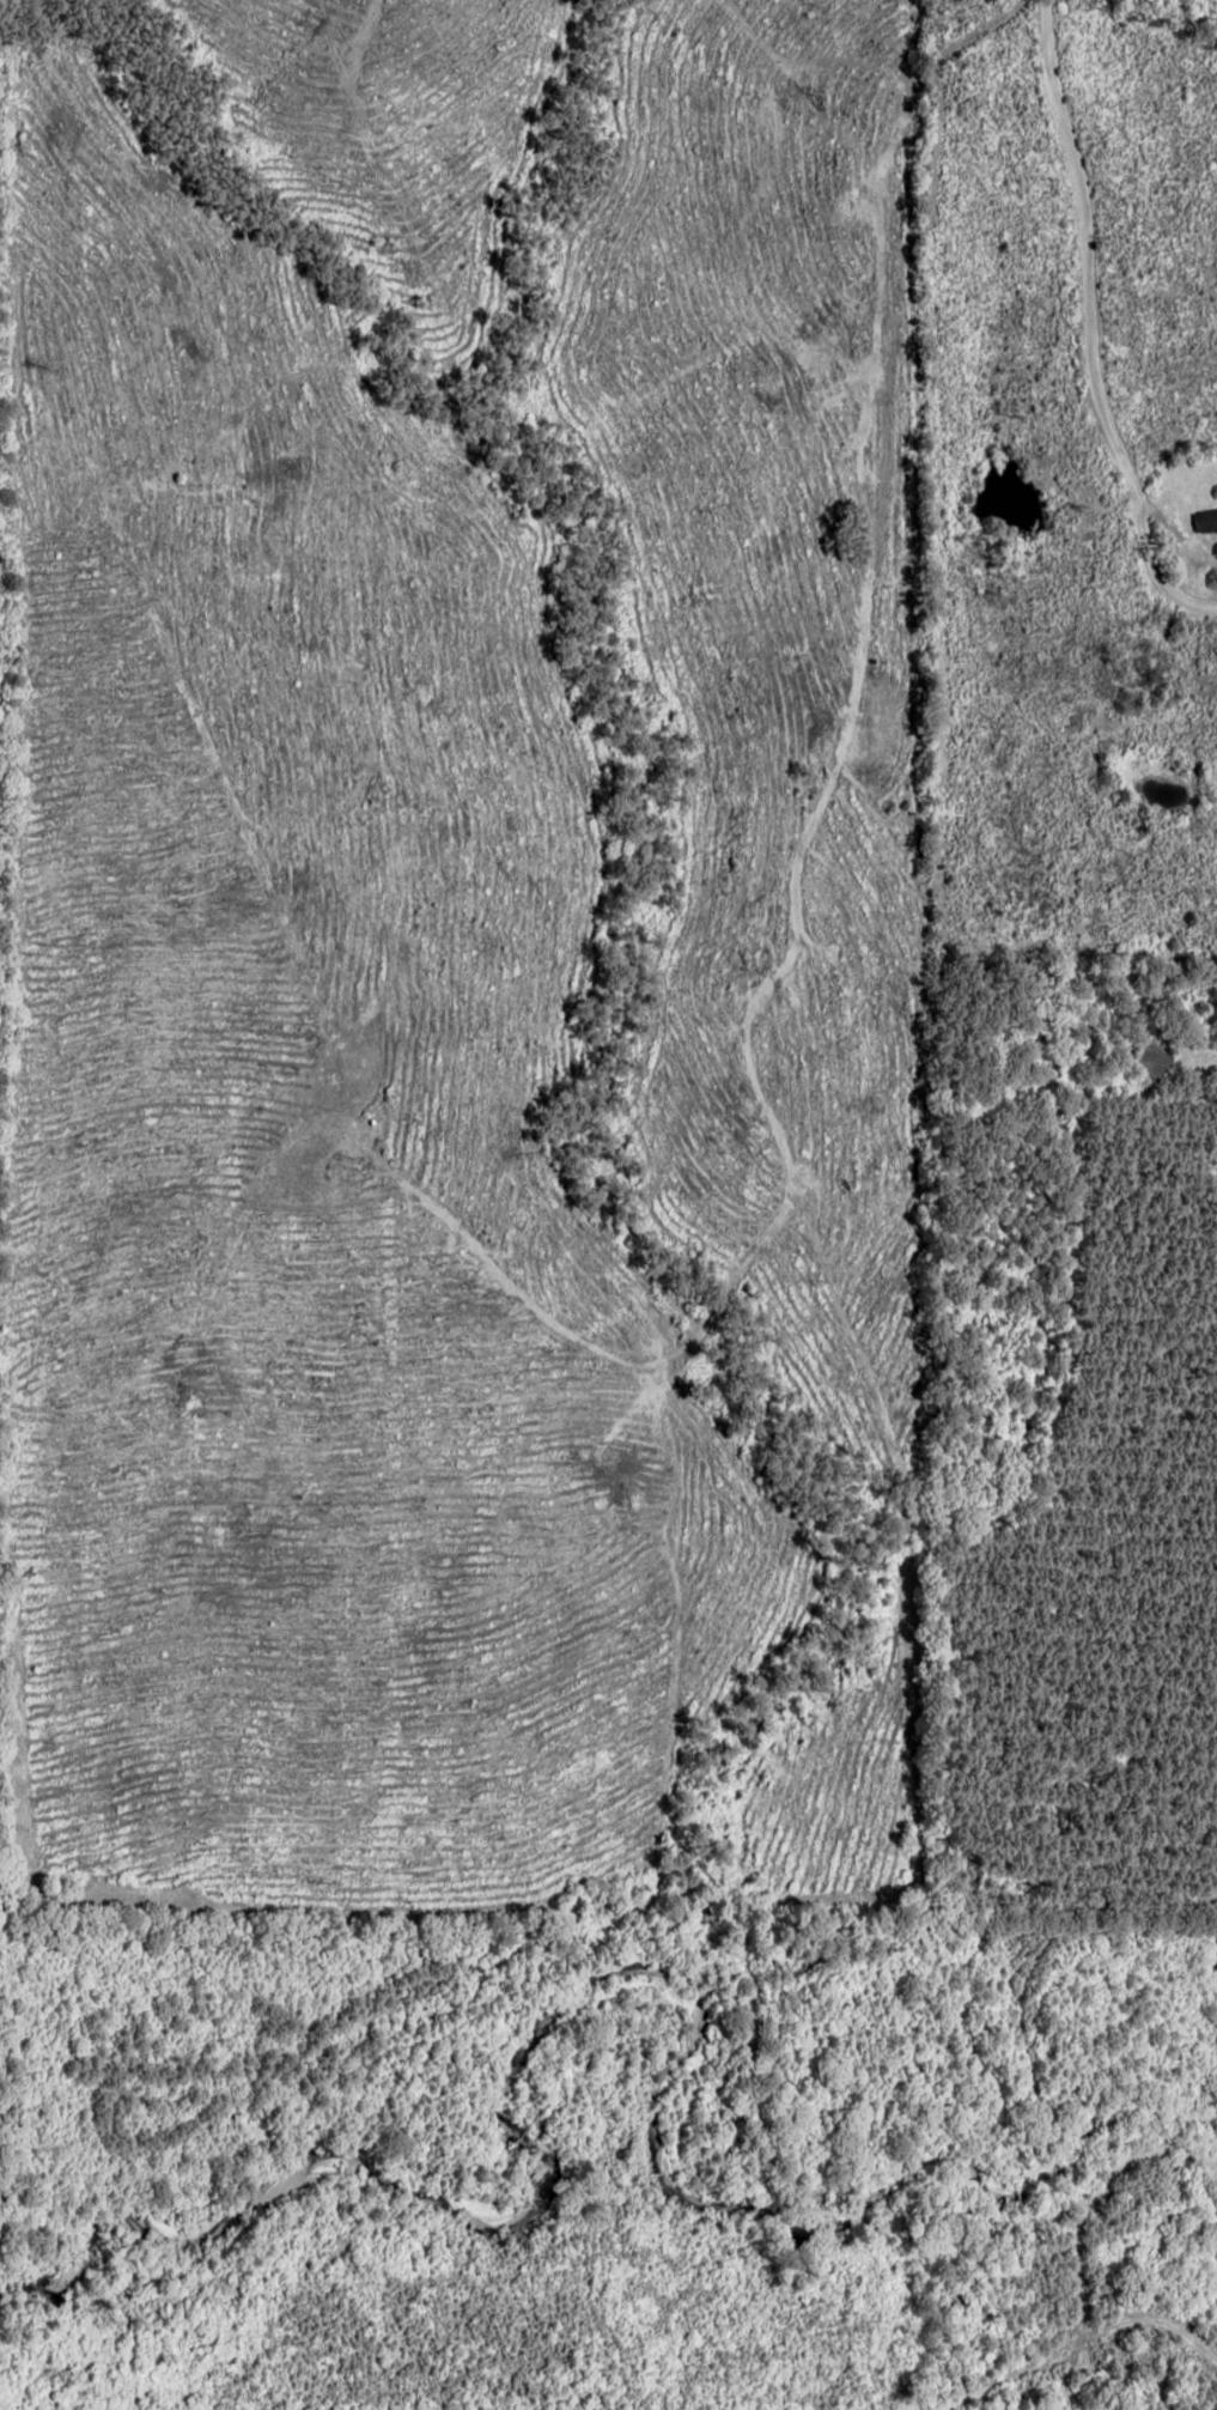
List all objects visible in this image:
road: (1118, 328)
building: (1205, 520)

